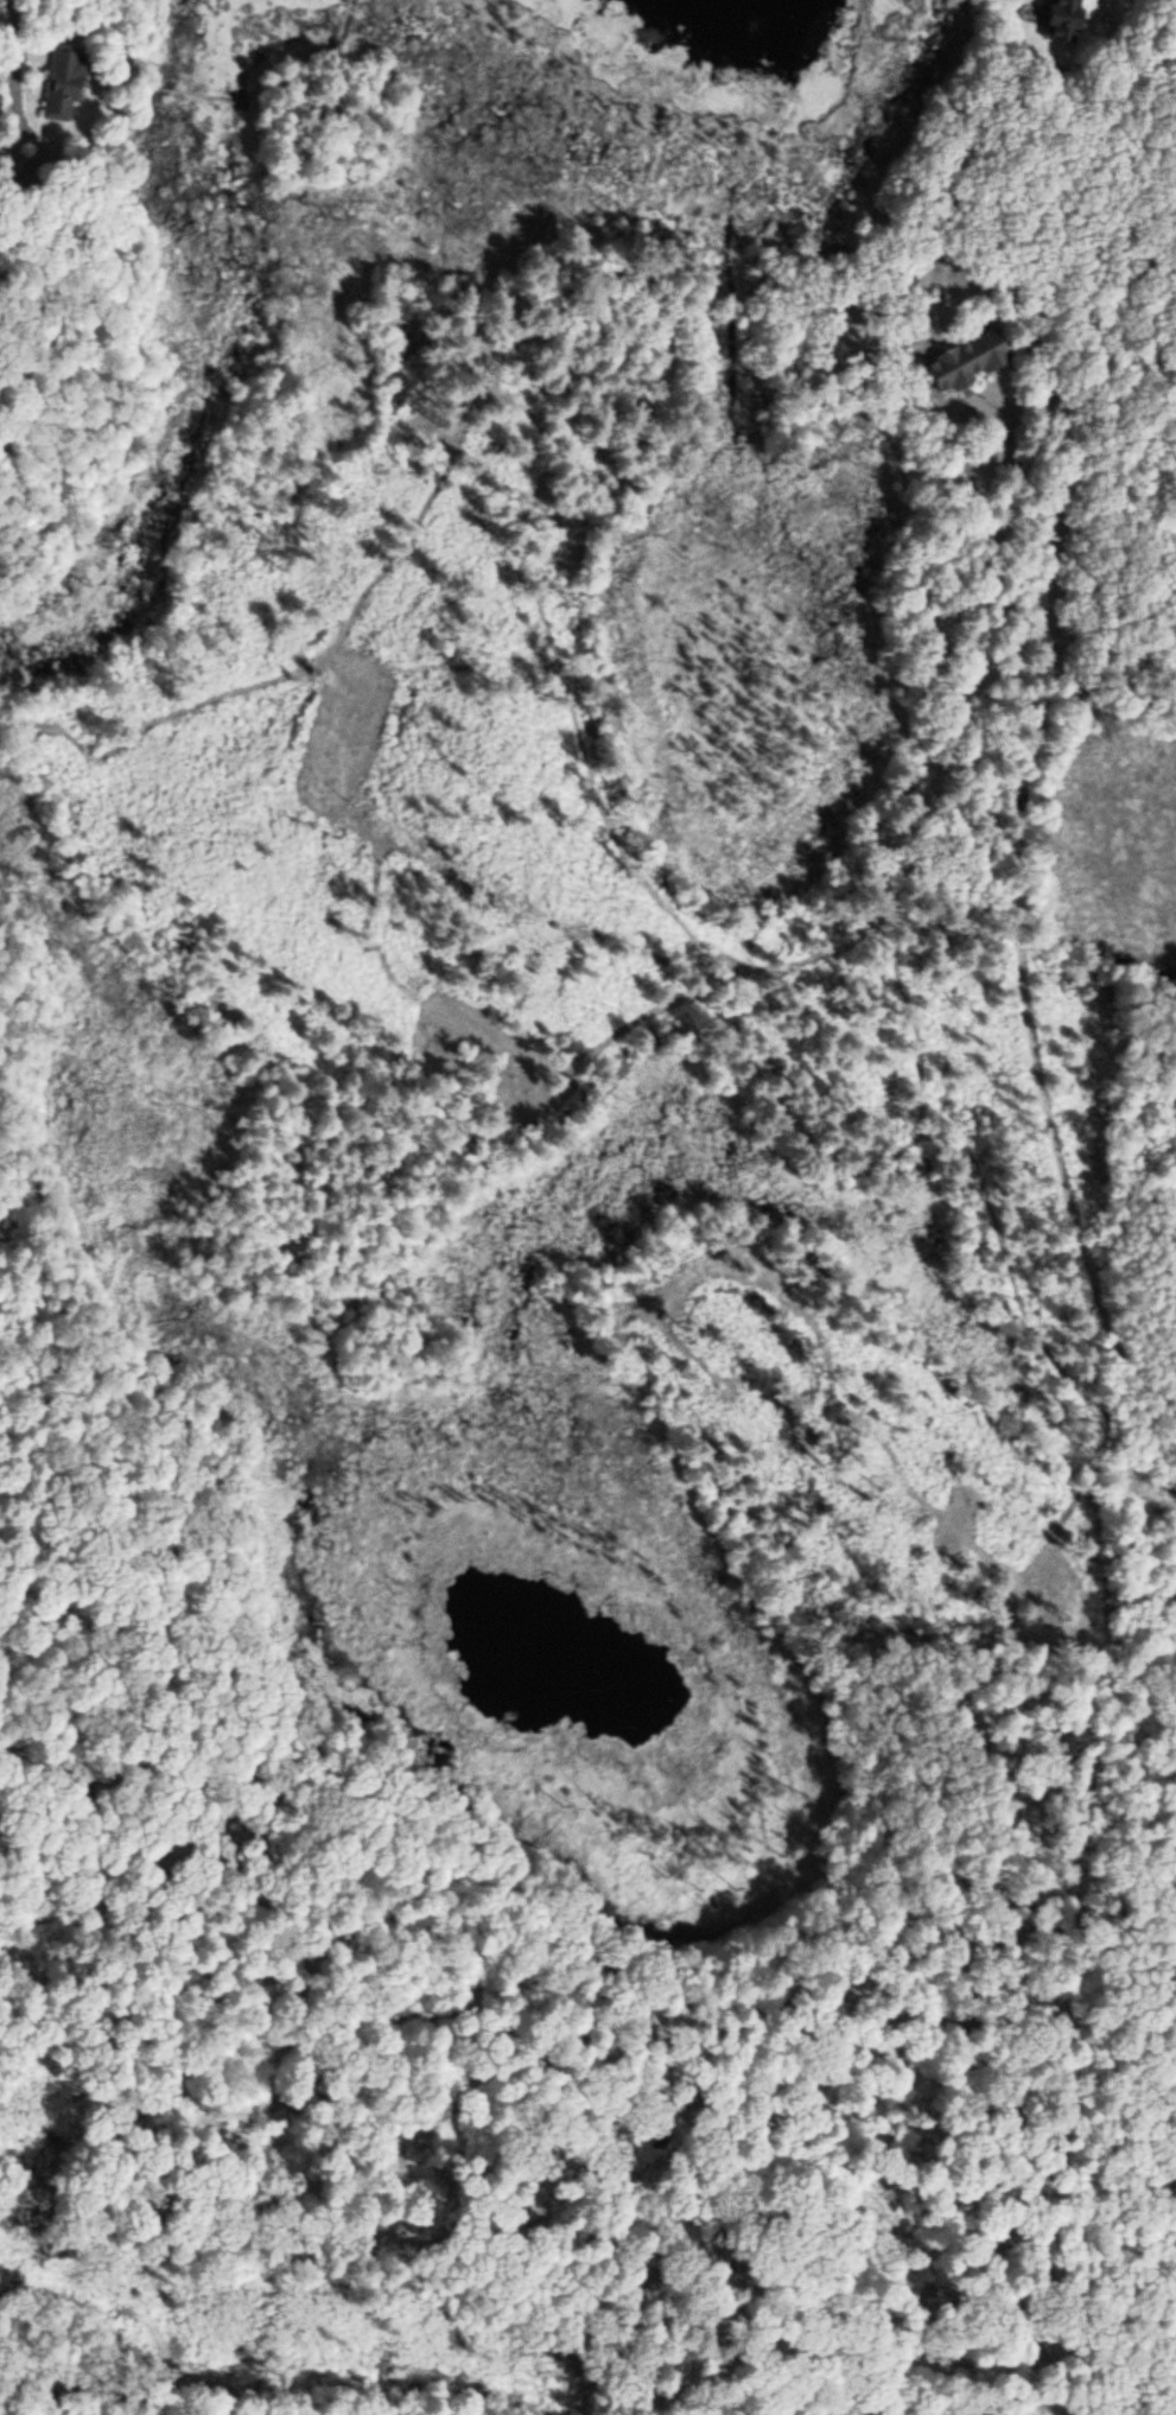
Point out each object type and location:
building: (1061, 20)
building: (58, 81)
building: (960, 361)
road: (1016, 816)
road: (78, 2402)
road: (146, 2413)
road: (192, 2413)

